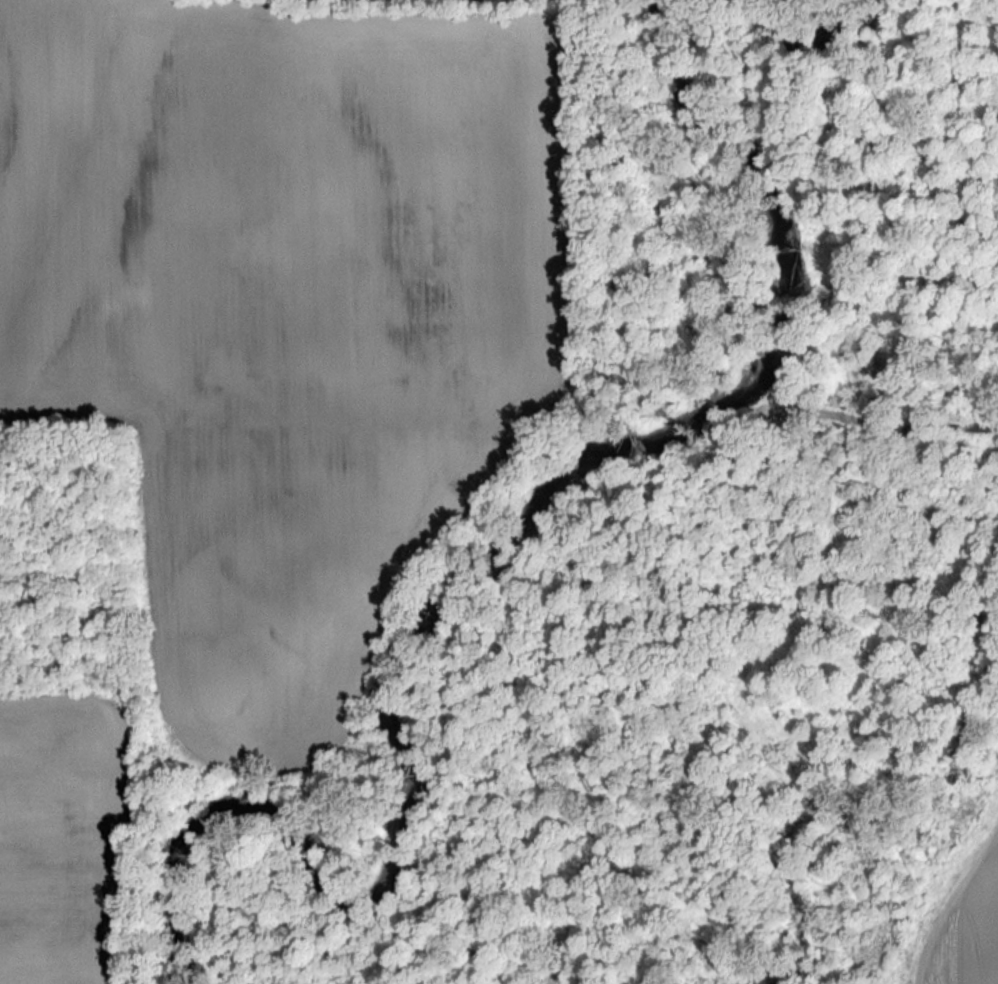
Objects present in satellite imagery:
river: (658, 0)
river: (808, 38)
crop: (284, 303)
river: (475, 572)
crop: (61, 834)
crop: (968, 926)

